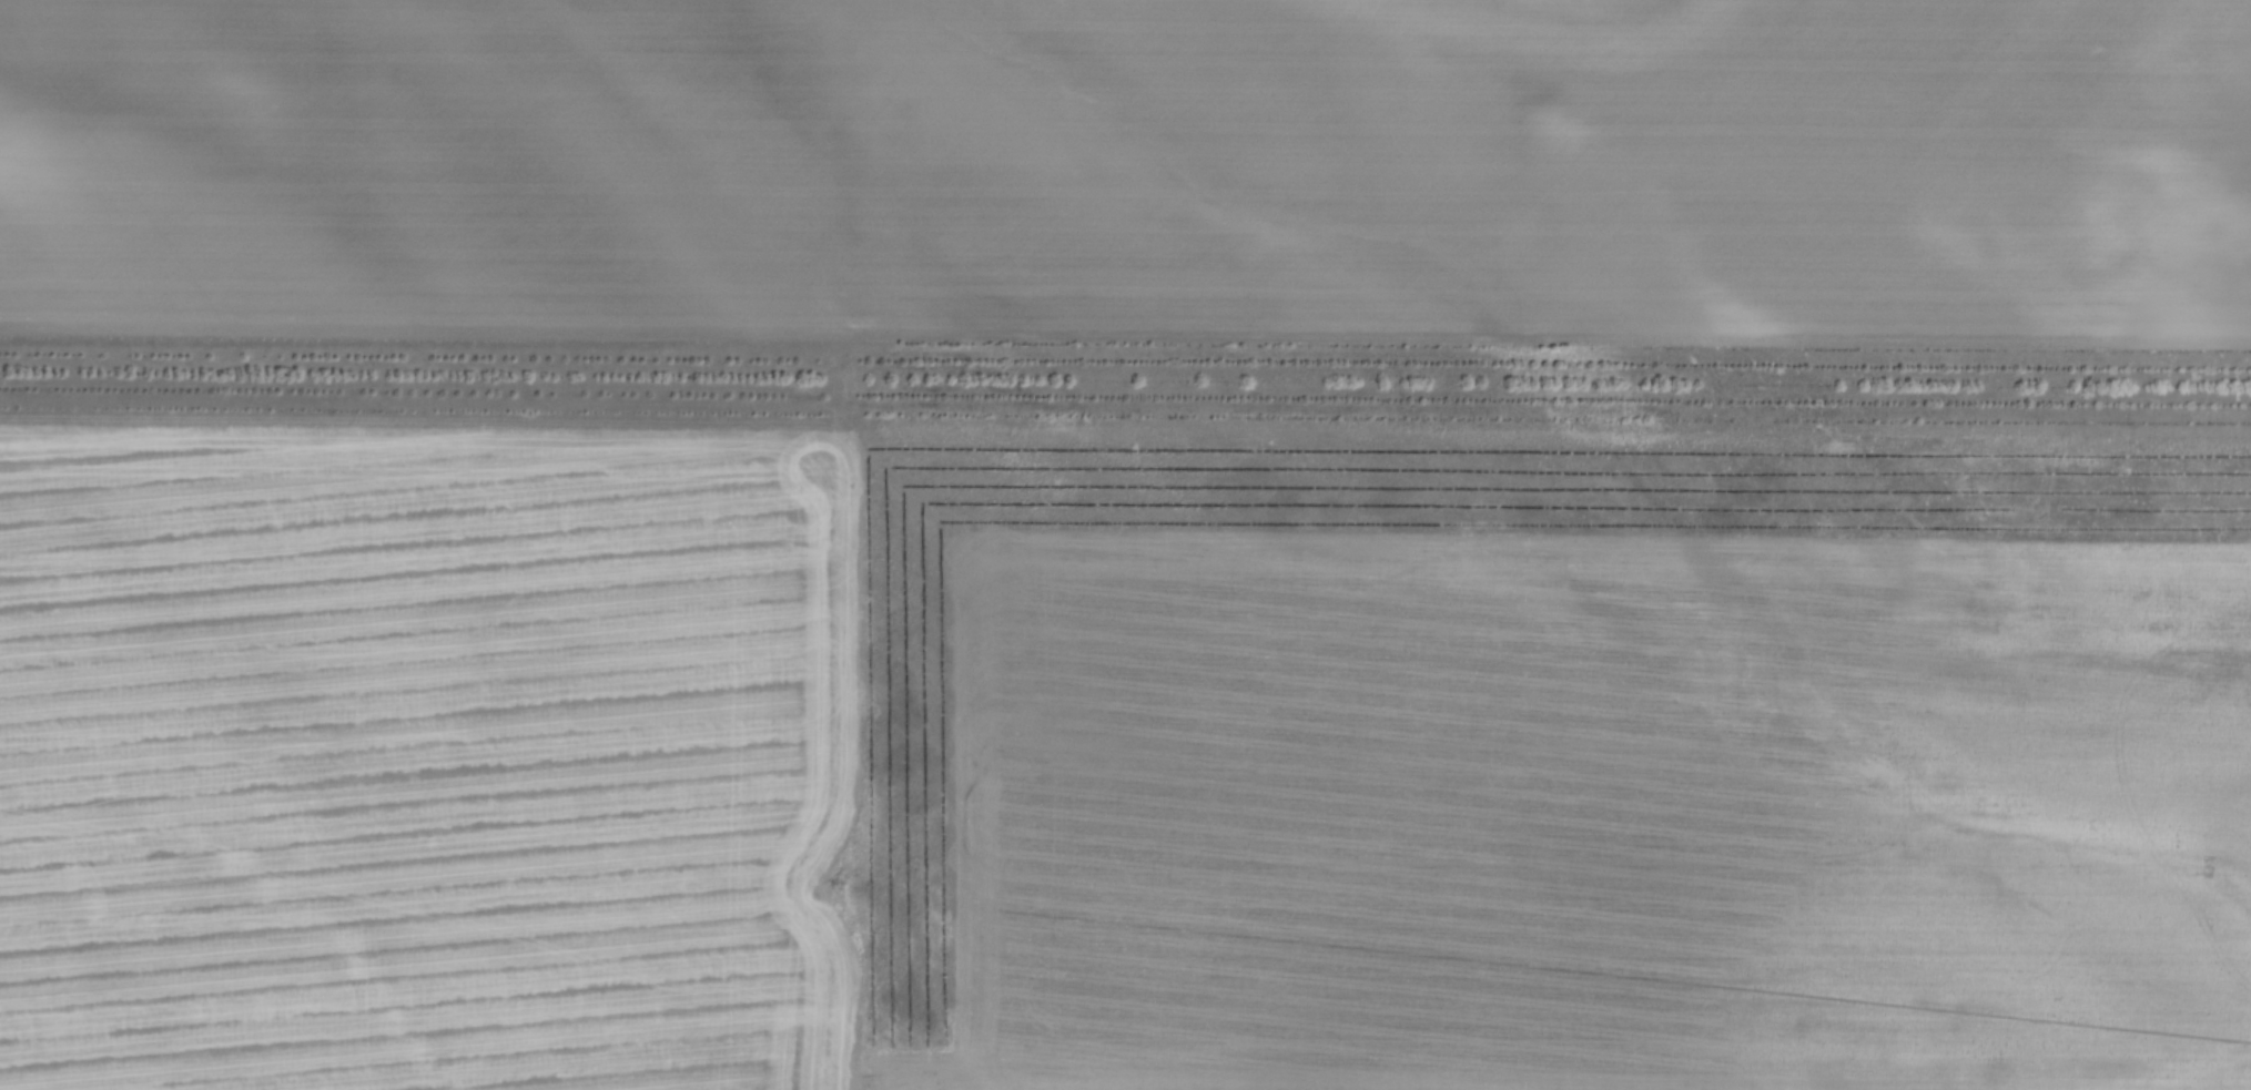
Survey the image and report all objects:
crop: (1129, 166)
crop: (1122, 760)

